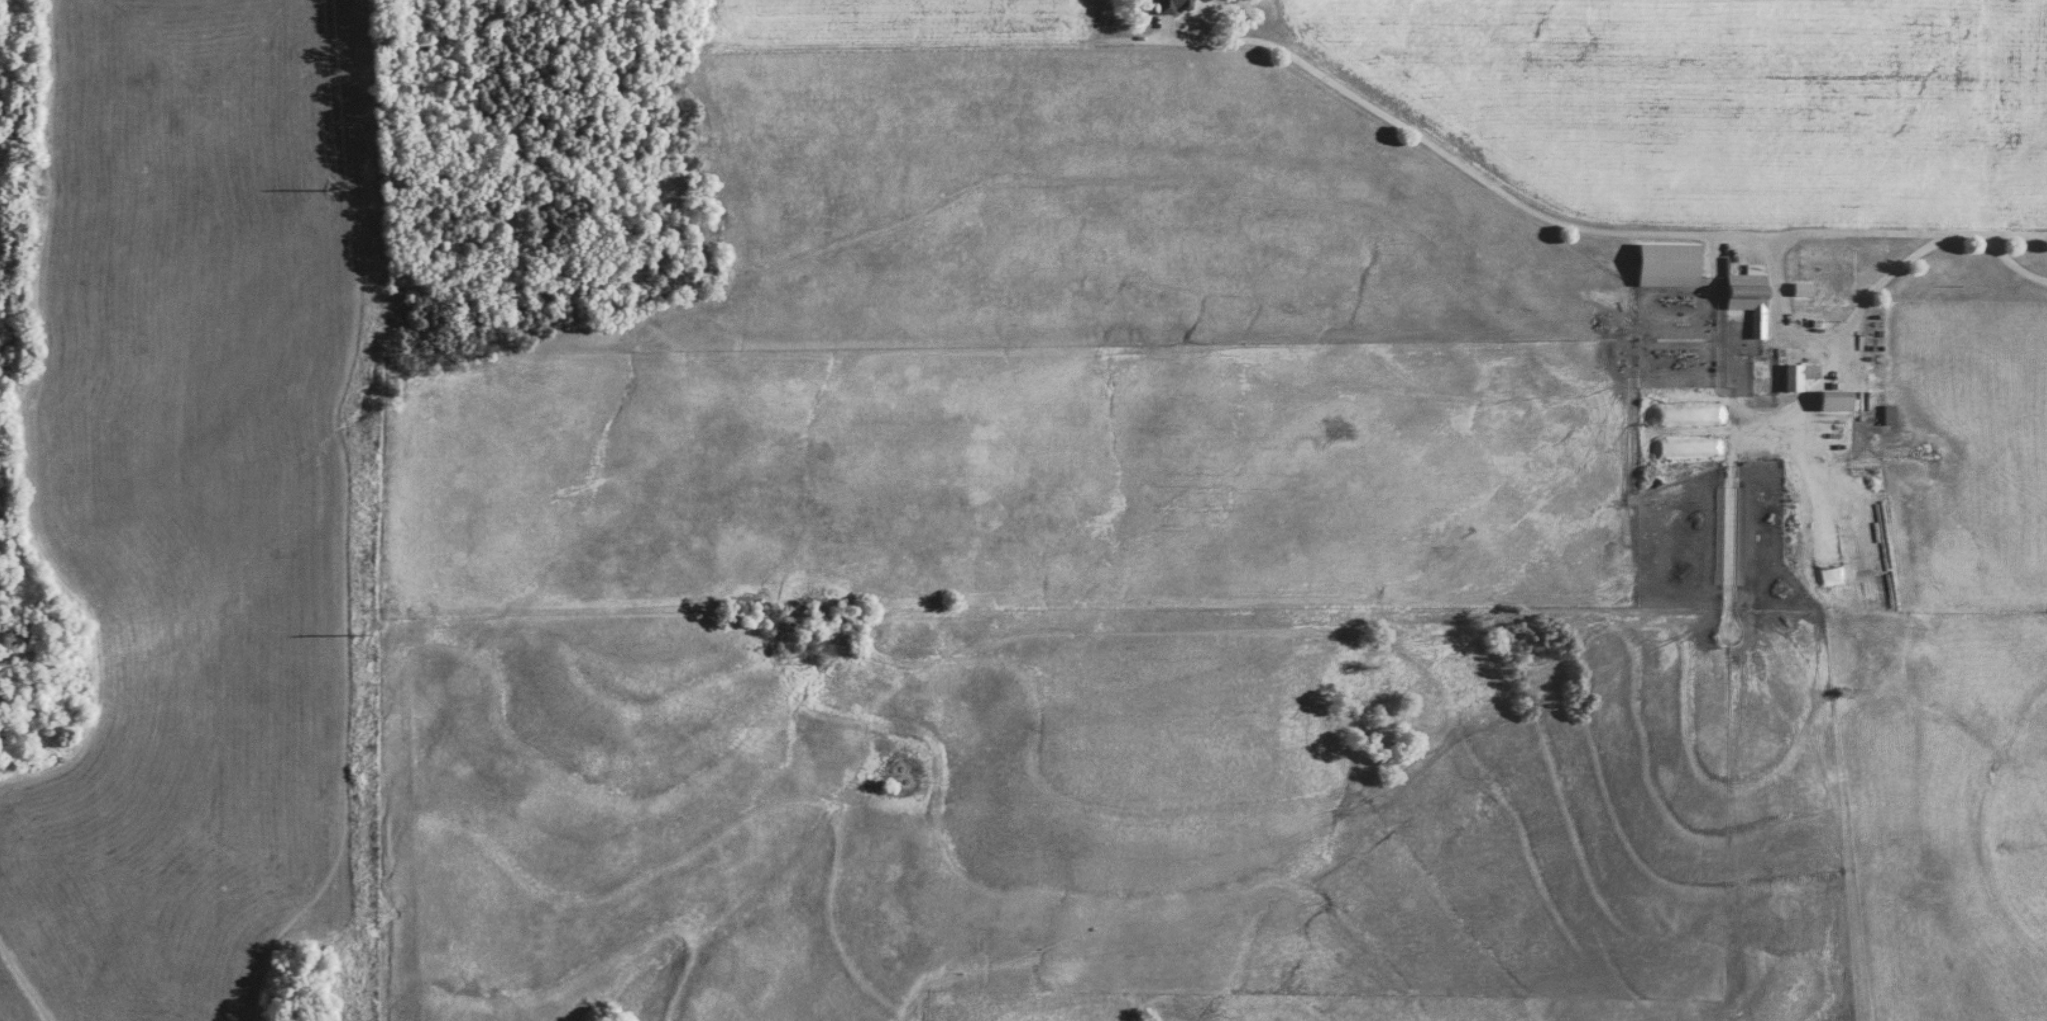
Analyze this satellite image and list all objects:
building: (1170, 6)
road: (1395, 119)
road: (1837, 231)
road: (2010, 259)
building: (1663, 265)
building: (1747, 297)
road: (1838, 330)
building: (1796, 376)
building: (1832, 402)
road: (1797, 409)

